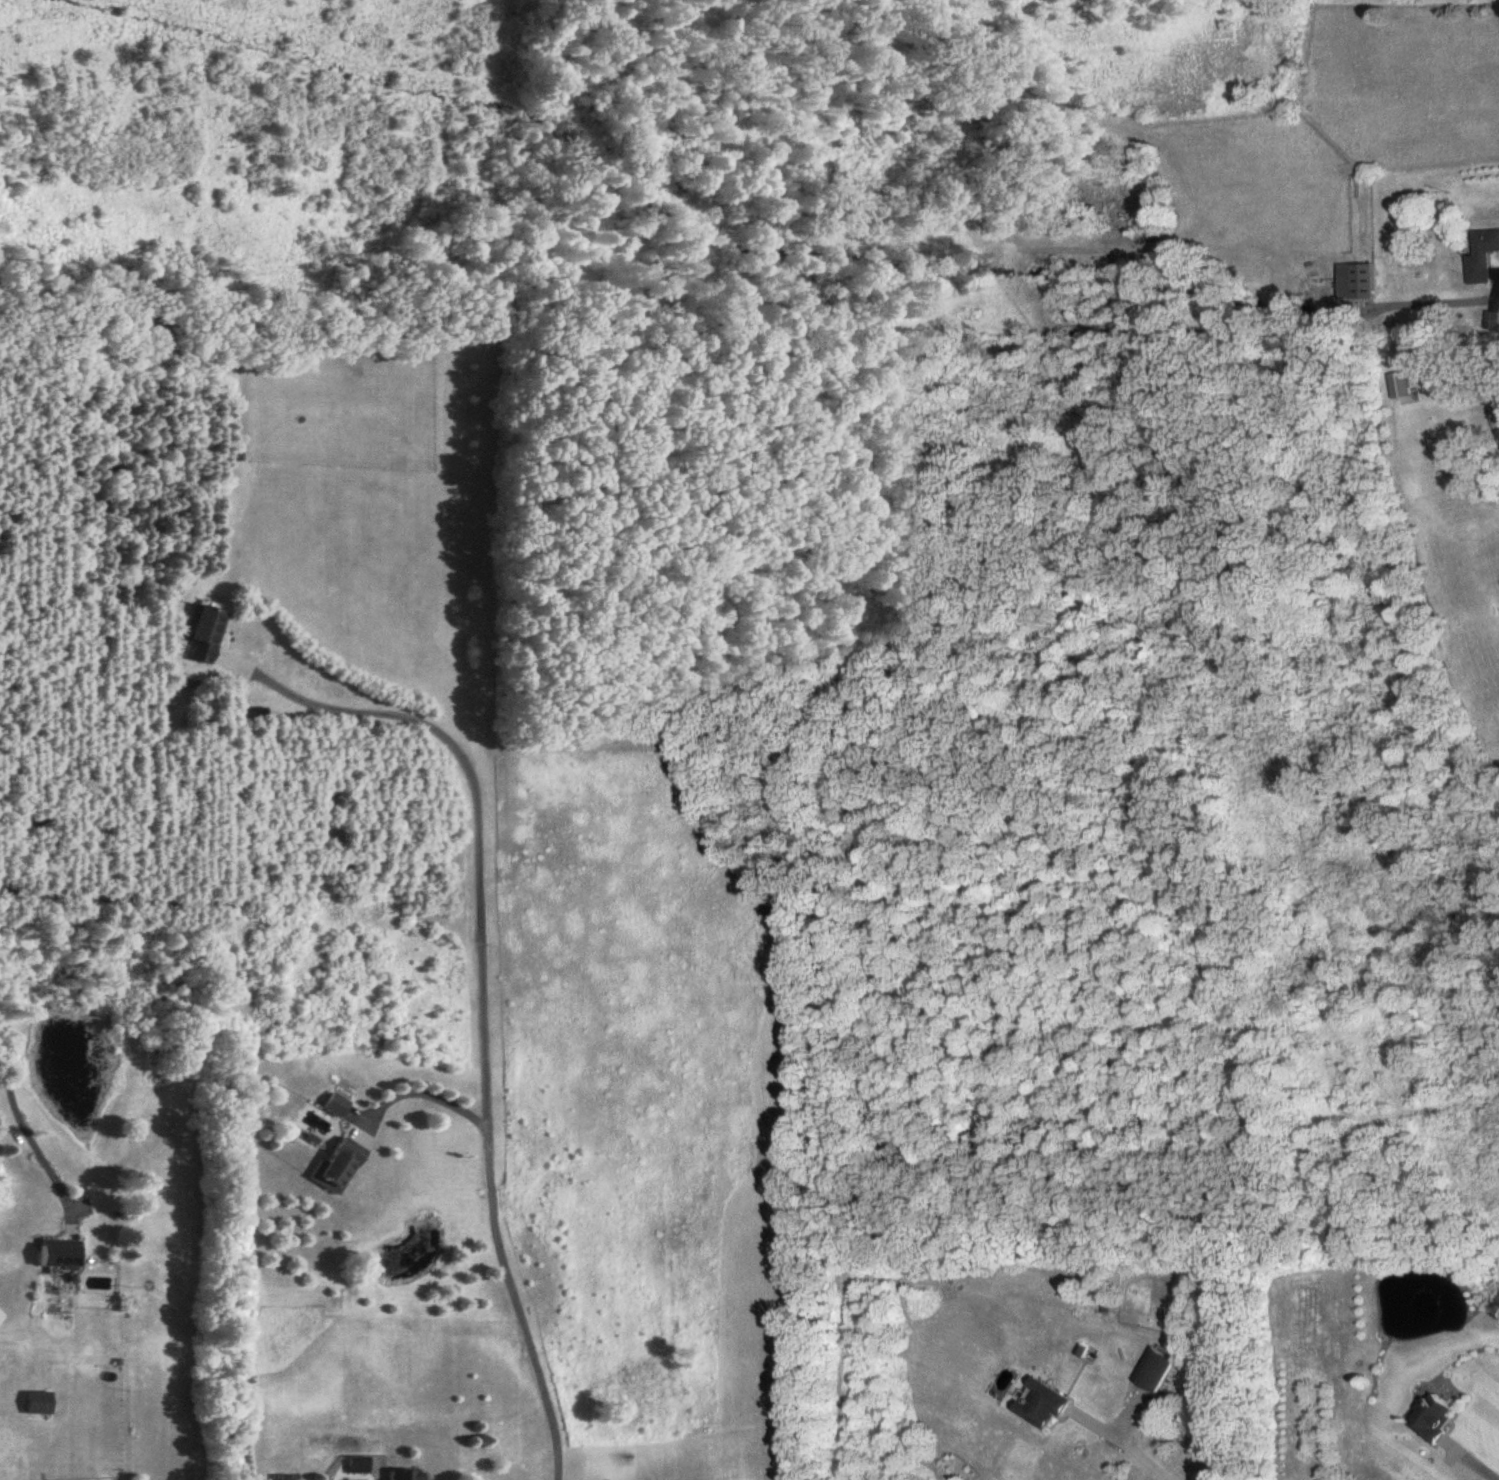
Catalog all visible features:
building: (1483, 259)
building: (1356, 283)
building: (148, 331)
building: (1498, 408)
building: (1497, 437)
building: (206, 635)
road: (484, 997)
road: (426, 1091)
building: (335, 1107)
road: (17, 1115)
building: (338, 1167)
building: (58, 1256)
building: (1156, 1371)
building: (37, 1404)
building: (1045, 1406)
building: (1436, 1421)
road: (1128, 1448)
road: (1473, 1463)
building: (404, 1476)

